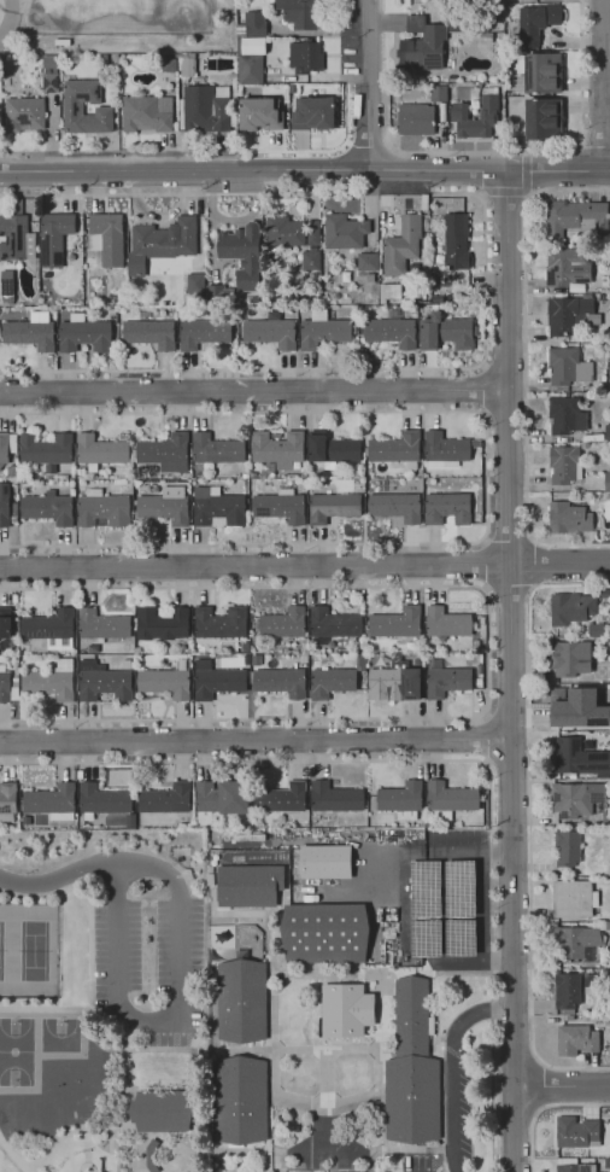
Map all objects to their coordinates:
building: (524, 0)
building: (549, 0)
building: (300, 13)
building: (252, 25)
building: (534, 25)
building: (486, 37)
building: (421, 46)
building: (305, 57)
building: (251, 62)
building: (169, 65)
building: (187, 68)
building: (542, 74)
building: (49, 83)
road: (368, 84)
road: (603, 86)
building: (438, 93)
building: (205, 109)
building: (74, 110)
building: (147, 113)
building: (259, 113)
building: (312, 113)
building: (23, 115)
building: (458, 116)
building: (542, 118)
building: (415, 119)
road: (344, 146)
road: (594, 147)
road: (366, 148)
road: (389, 150)
road: (311, 152)
road: (526, 152)
road: (12, 162)
road: (251, 170)
road: (523, 170)
road: (556, 171)
road: (502, 189)
road: (479, 192)
road: (527, 192)
building: (574, 217)
building: (283, 232)
building: (344, 232)
building: (313, 234)
building: (17, 237)
building: (57, 238)
building: (106, 238)
building: (454, 241)
building: (231, 244)
building: (401, 246)
building: (168, 250)
building: (310, 260)
building: (368, 262)
building: (567, 267)
building: (293, 278)
road: (485, 280)
building: (609, 280)
building: (213, 281)
building: (7, 296)
building: (438, 299)
building: (465, 299)
building: (569, 314)
building: (271, 330)
building: (445, 331)
building: (31, 332)
building: (323, 332)
building: (391, 332)
building: (148, 333)
building: (203, 333)
building: (84, 334)
road: (526, 366)
building: (568, 367)
road: (253, 390)
road: (483, 390)
building: (565, 416)
building: (606, 432)
building: (476, 444)
building: (6, 447)
building: (277, 449)
building: (216, 450)
building: (332, 450)
building: (395, 450)
building: (445, 450)
building: (46, 451)
building: (101, 451)
building: (164, 453)
building: (563, 465)
building: (12, 472)
road: (486, 478)
building: (600, 482)
building: (609, 495)
building: (476, 497)
building: (4, 505)
building: (165, 506)
building: (446, 506)
building: (46, 507)
building: (280, 507)
building: (332, 507)
building: (395, 507)
building: (217, 508)
building: (104, 509)
building: (475, 519)
building: (568, 519)
road: (509, 540)
road: (532, 561)
road: (486, 562)
road: (305, 567)
road: (509, 584)
building: (570, 608)
building: (481, 620)
building: (5, 623)
building: (221, 623)
building: (395, 623)
building: (446, 623)
building: (162, 624)
building: (282, 624)
building: (333, 624)
building: (101, 625)
building: (609, 628)
building: (49, 629)
building: (596, 630)
building: (411, 645)
building: (245, 647)
building: (609, 648)
road: (489, 649)
building: (568, 658)
building: (256, 659)
building: (303, 659)
building: (246, 660)
building: (127, 664)
building: (479, 670)
road: (510, 671)
building: (395, 678)
building: (334, 680)
building: (445, 680)
building: (477, 680)
building: (216, 681)
building: (51, 682)
building: (102, 682)
building: (165, 682)
building: (280, 682)
building: (8, 684)
building: (604, 696)
building: (567, 706)
road: (486, 739)
road: (256, 741)
building: (587, 745)
building: (579, 758)
road: (242, 763)
building: (281, 798)
building: (335, 798)
building: (166, 799)
building: (221, 799)
building: (448, 799)
building: (8, 800)
building: (102, 800)
building: (401, 800)
building: (576, 800)
building: (52, 801)
building: (27, 820)
road: (529, 820)
building: (606, 820)
building: (130, 821)
building: (239, 824)
building: (254, 824)
building: (49, 838)
building: (248, 838)
building: (40, 847)
building: (567, 851)
road: (446, 855)
building: (324, 861)
road: (55, 876)
building: (248, 885)
parking lot: (441, 899)
building: (573, 899)
road: (420, 906)
road: (89, 908)
road: (471, 908)
road: (233, 911)
building: (606, 926)
building: (324, 933)
road: (266, 940)
building: (576, 943)
park: (0, 947)
park: (34, 952)
parking lot: (151, 963)
road: (491, 967)
building: (606, 973)
road: (328, 974)
road: (438, 974)
building: (590, 980)
building: (567, 991)
park: (100, 999)
building: (242, 1001)
building: (341, 1009)
road: (311, 1011)
road: (172, 1015)
road: (124, 1033)
road: (272, 1033)
park: (60, 1034)
building: (575, 1040)
road: (298, 1048)
road: (184, 1049)
park: (16, 1051)
road: (212, 1054)
road: (383, 1061)
road: (452, 1067)
building: (411, 1068)
road: (325, 1081)
road: (562, 1086)
building: (240, 1100)
road: (329, 1104)
road: (544, 1109)
building: (162, 1110)
road: (195, 1110)
road: (327, 1114)
parking lot: (447, 1121)
road: (270, 1126)
road: (69, 1132)
building: (580, 1132)
road: (401, 1148)
road: (257, 1149)
road: (14, 1155)
building: (152, 1155)
building: (606, 1164)
building: (575, 1168)
road: (30, 1171)

